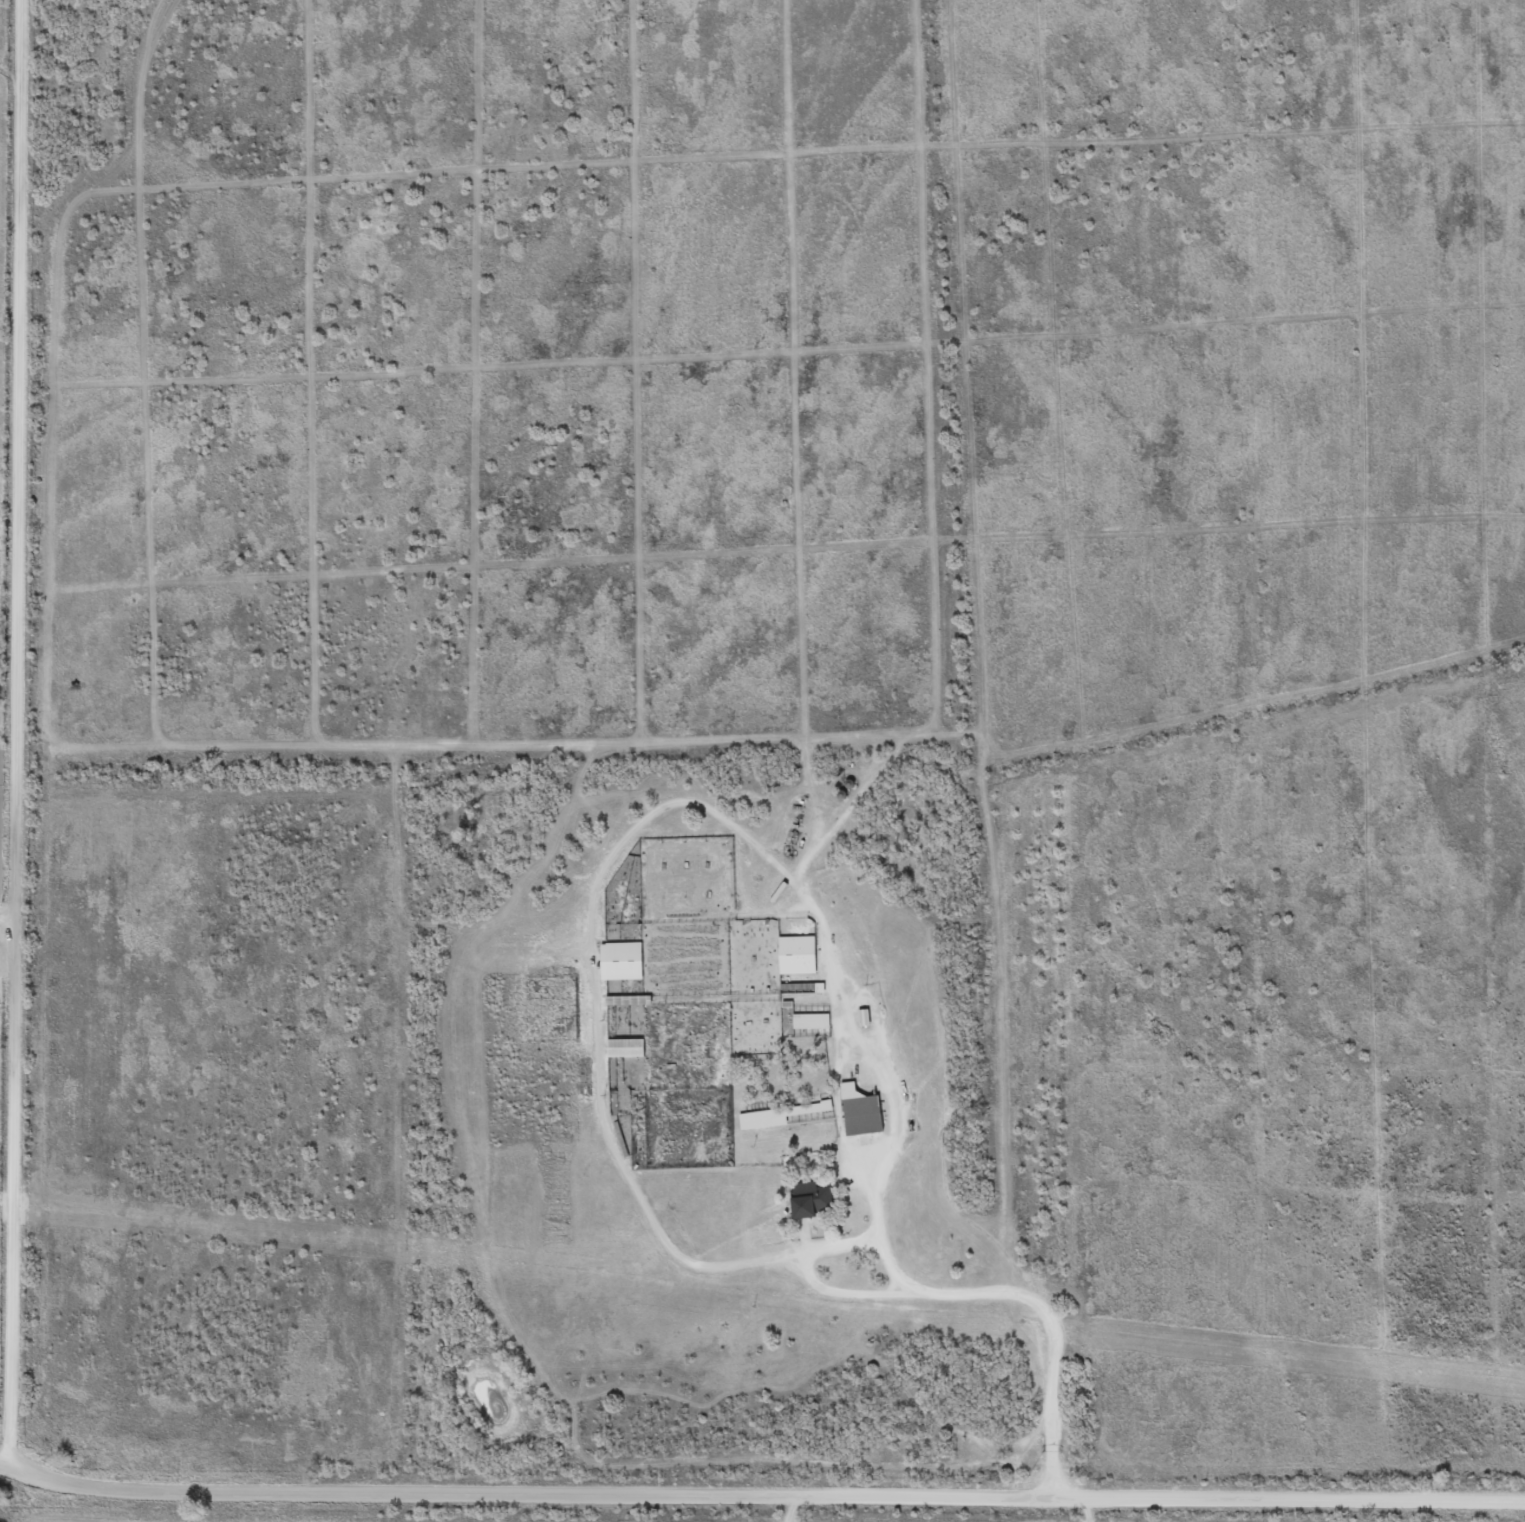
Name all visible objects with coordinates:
road: (27, 725)
building: (795, 955)
building: (620, 961)
road: (852, 1015)
building: (862, 1018)
building: (810, 1021)
road: (1266, 1039)
building: (624, 1048)
building: (859, 1112)
building: (776, 1116)
building: (811, 1201)
road: (339, 1514)
road: (1472, 1519)

